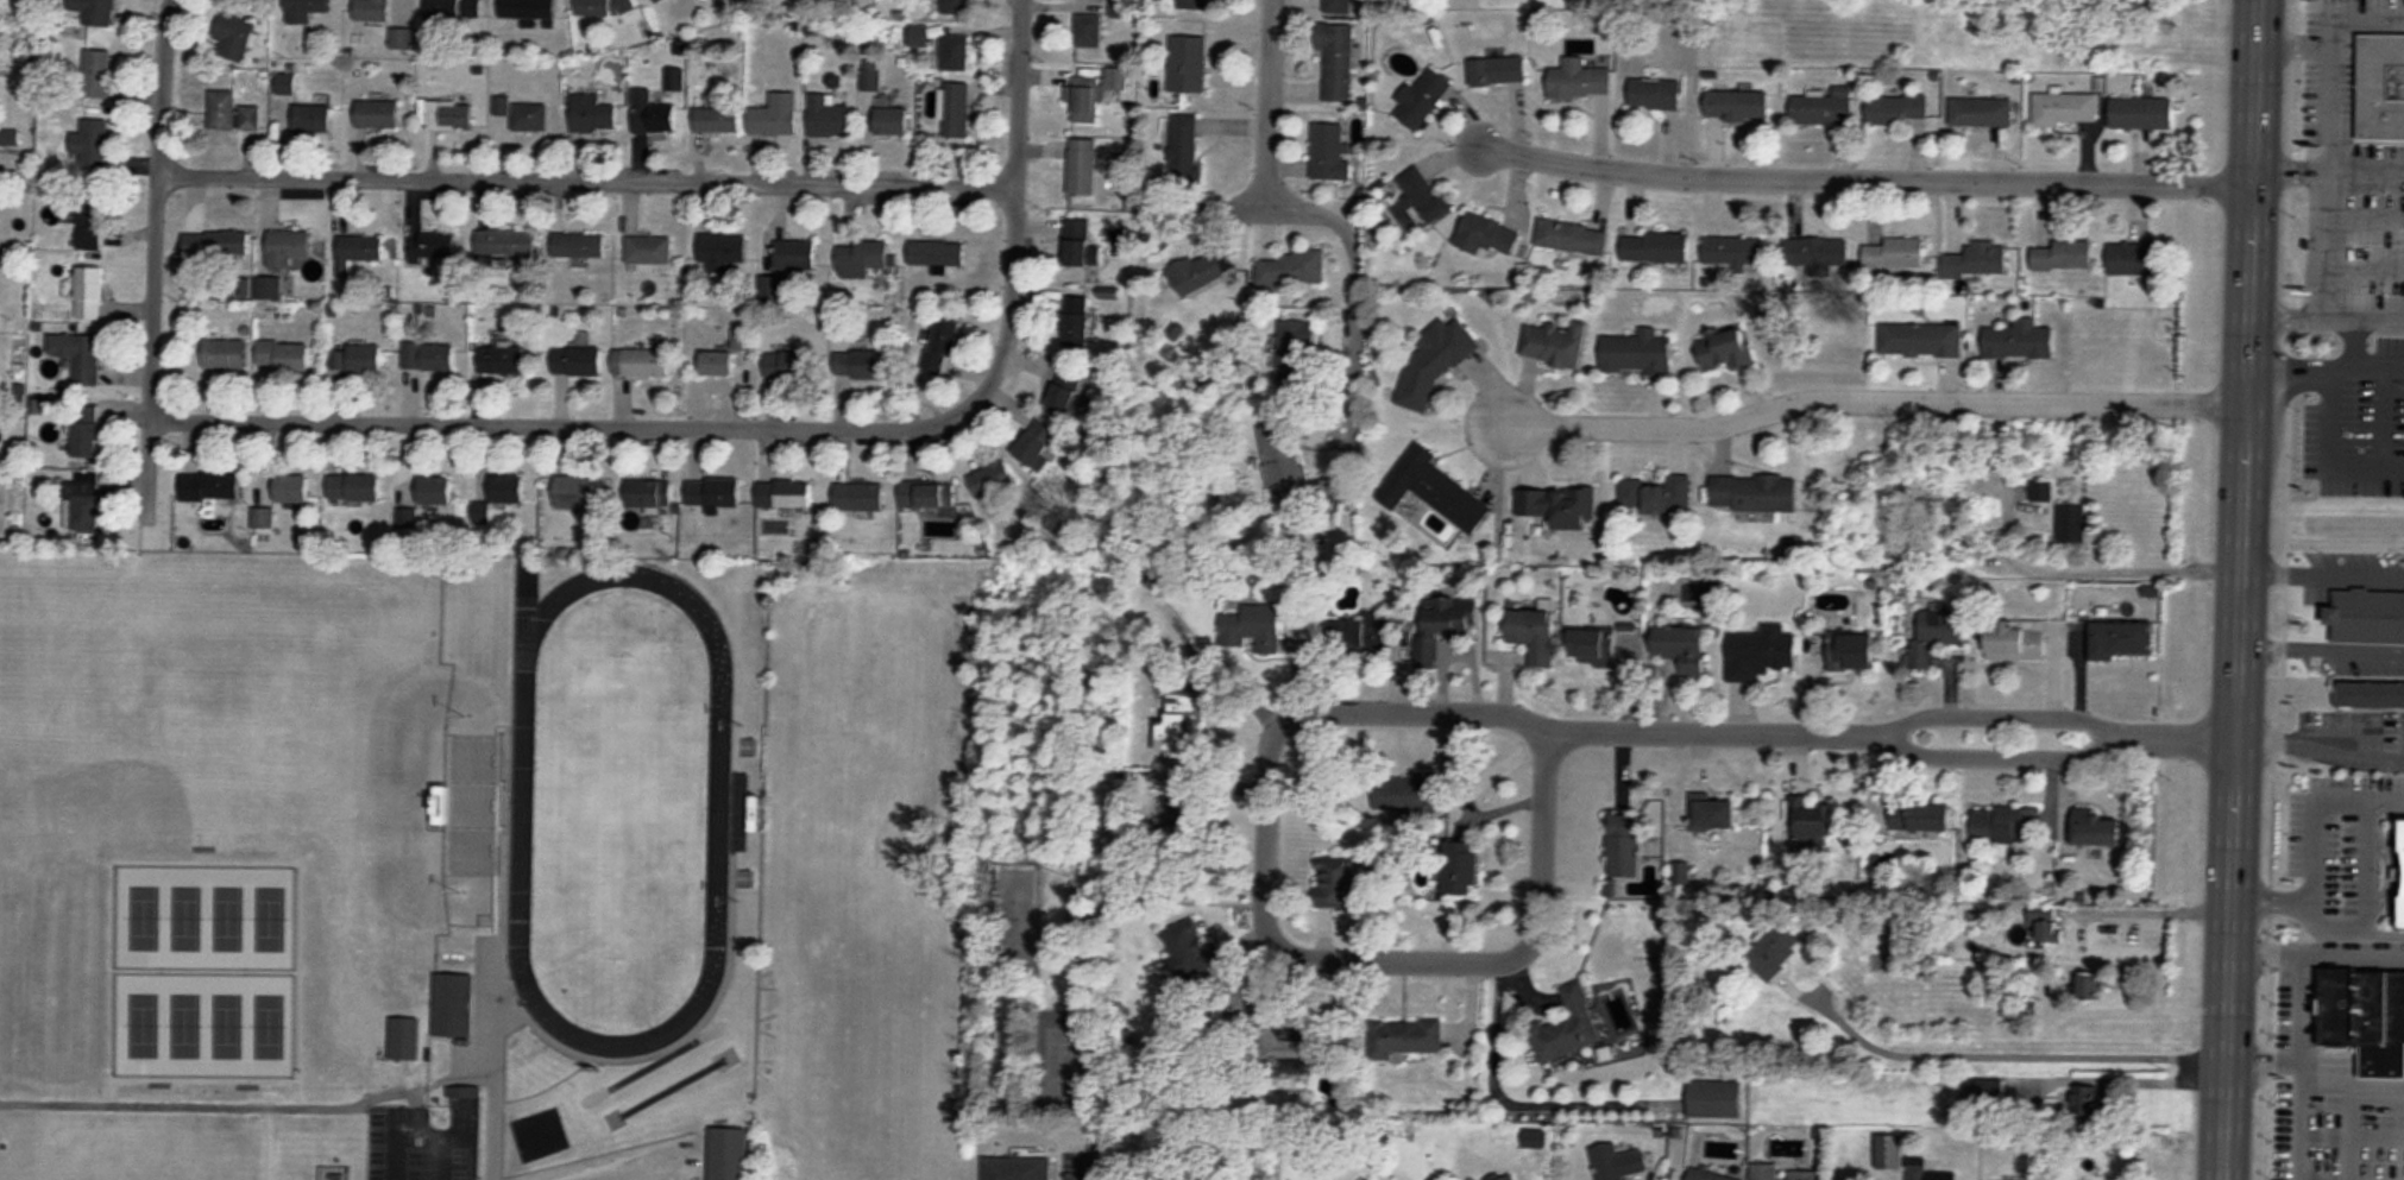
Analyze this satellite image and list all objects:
building: (656, 1)
building: (1192, 1)
building: (1336, 6)
building: (602, 7)
building: (957, 7)
building: (527, 8)
building: (304, 10)
building: (454, 10)
building: (95, 11)
building: (372, 11)
road: (2366, 13)
building: (1089, 31)
building: (919, 36)
building: (234, 37)
road: (2287, 40)
building: (955, 53)
building: (1336, 59)
building: (1188, 64)
building: (1498, 70)
building: (96, 74)
building: (1579, 78)
building: (287, 84)
building: (2381, 87)
building: (1655, 94)
building: (1421, 99)
road: (1270, 102)
building: (1737, 106)
building: (1824, 108)
building: (1898, 109)
building: (2065, 109)
building: (222, 111)
building: (956, 111)
building: (1981, 112)
building: (2141, 113)
building: (377, 114)
building: (449, 115)
building: (524, 115)
building: (592, 115)
building: (652, 115)
building: (775, 116)
building: (250, 118)
building: (827, 118)
building: (311, 119)
building: (716, 121)
building: (892, 121)
building: (92, 144)
building: (1327, 151)
building: (1184, 152)
road: (2317, 156)
building: (1082, 166)
road: (2328, 166)
road: (587, 176)
road: (1864, 178)
building: (1422, 197)
road: (1232, 204)
road: (1014, 208)
building: (90, 215)
road: (2360, 216)
building: (1485, 235)
building: (1572, 236)
building: (505, 242)
building: (215, 244)
building: (1077, 244)
building: (579, 245)
building: (288, 248)
building: (433, 248)
building: (1655, 248)
building: (649, 251)
building: (358, 252)
building: (1733, 252)
building: (1814, 252)
building: (720, 254)
building: (937, 254)
building: (1895, 254)
building: (794, 255)
building: (2064, 257)
building: (2138, 258)
road: (156, 259)
building: (861, 259)
building: (1977, 259)
road: (2359, 266)
building: (1200, 271)
building: (1283, 271)
building: (268, 289)
road: (1091, 292)
building: (89, 296)
road: (2326, 314)
road: (1353, 327)
building: (1076, 329)
building: (1920, 339)
building: (2020, 340)
road: (2354, 340)
building: (1553, 345)
building: (942, 348)
building: (1725, 348)
building: (1637, 353)
building: (224, 354)
building: (1295, 354)
building: (78, 355)
building: (283, 355)
building: (365, 358)
building: (428, 358)
building: (502, 360)
building: (577, 360)
building: (641, 362)
building: (1434, 362)
building: (789, 365)
building: (860, 366)
road: (2326, 366)
building: (1065, 396)
road: (1870, 399)
road: (2329, 414)
road: (2385, 415)
road: (561, 424)
building: (84, 431)
building: (1033, 448)
road: (2366, 461)
building: (1284, 469)
building: (994, 478)
building: (209, 487)
building: (353, 487)
building: (291, 488)
building: (506, 488)
building: (1433, 490)
building: (2041, 490)
building: (574, 491)
building: (1754, 492)
building: (648, 493)
building: (713, 493)
building: (783, 494)
building: (927, 494)
building: (1655, 496)
building: (858, 497)
building: (419, 499)
building: (82, 504)
building: (1563, 509)
building: (482, 512)
building: (263, 518)
building: (2072, 523)
road: (2089, 567)
road: (2322, 572)
road: (2239, 589)
building: (2368, 614)
building: (1533, 627)
building: (1252, 629)
building: (1448, 630)
building: (1936, 633)
building: (1359, 636)
building: (2015, 641)
building: (2120, 641)
building: (1600, 645)
building: (1681, 648)
road: (2321, 651)
building: (1852, 654)
building: (1761, 656)
building: (2371, 694)
road: (1993, 709)
building: (1176, 727)
road: (1890, 738)
road: (2318, 745)
building: (1402, 794)
building: (1716, 814)
building: (1811, 816)
building: (1920, 816)
building: (2003, 822)
building: (2096, 828)
building: (1624, 848)
building: (1459, 867)
building: (1336, 882)
road: (2267, 895)
road: (2150, 907)
building: (2046, 926)
road: (1273, 938)
building: (1187, 947)
building: (1774, 949)
building: (2090, 984)
building: (453, 1004)
road: (2135, 1007)
building: (2365, 1015)
building: (1567, 1026)
building: (1405, 1036)
building: (404, 1037)
building: (1297, 1043)
road: (2005, 1050)
road: (2136, 1077)
building: (2007, 1092)
building: (1714, 1098)
building: (1889, 1151)
building: (728, 1153)
road: (438, 1156)
building: (2301, 1157)
building: (1607, 1166)
building: (1017, 1168)
building: (1764, 1172)
building: (1927, 1173)
road: (1081, 1174)
building: (1804, 1174)
building: (1504, 1175)
building: (1707, 1175)
building: (1368, 1179)

